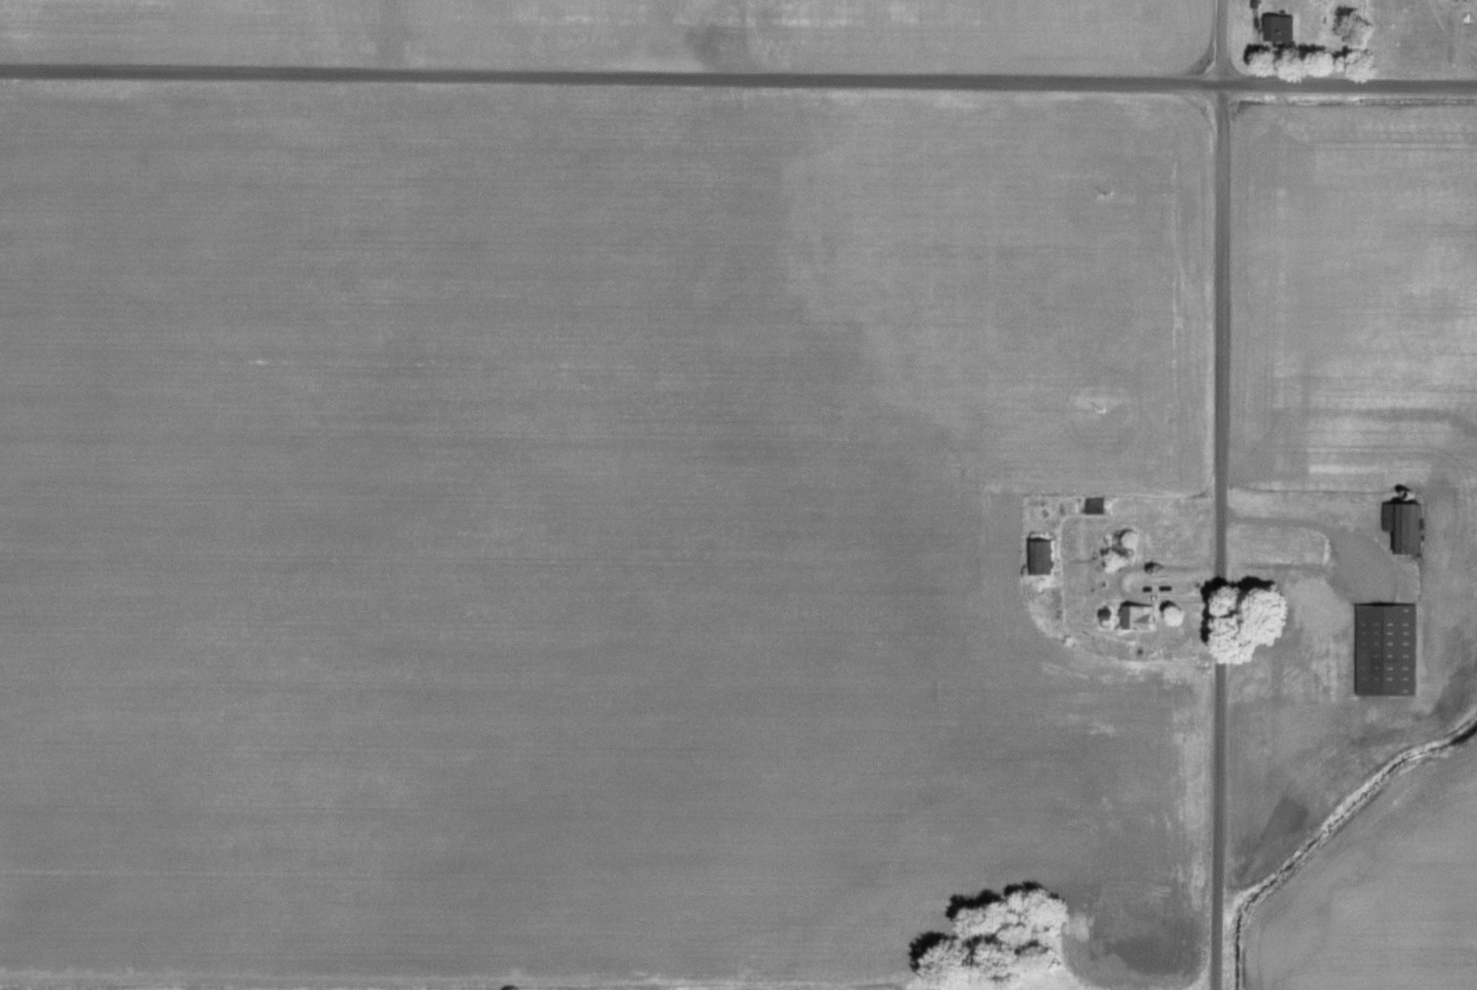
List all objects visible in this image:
building: (1280, 28)
road: (738, 78)
road: (1218, 495)
building: (1095, 506)
road: (1303, 519)
building: (1405, 524)
building: (1119, 545)
building: (1043, 556)
building: (1314, 602)
building: (1106, 616)
building: (1140, 616)
building: (1387, 649)

